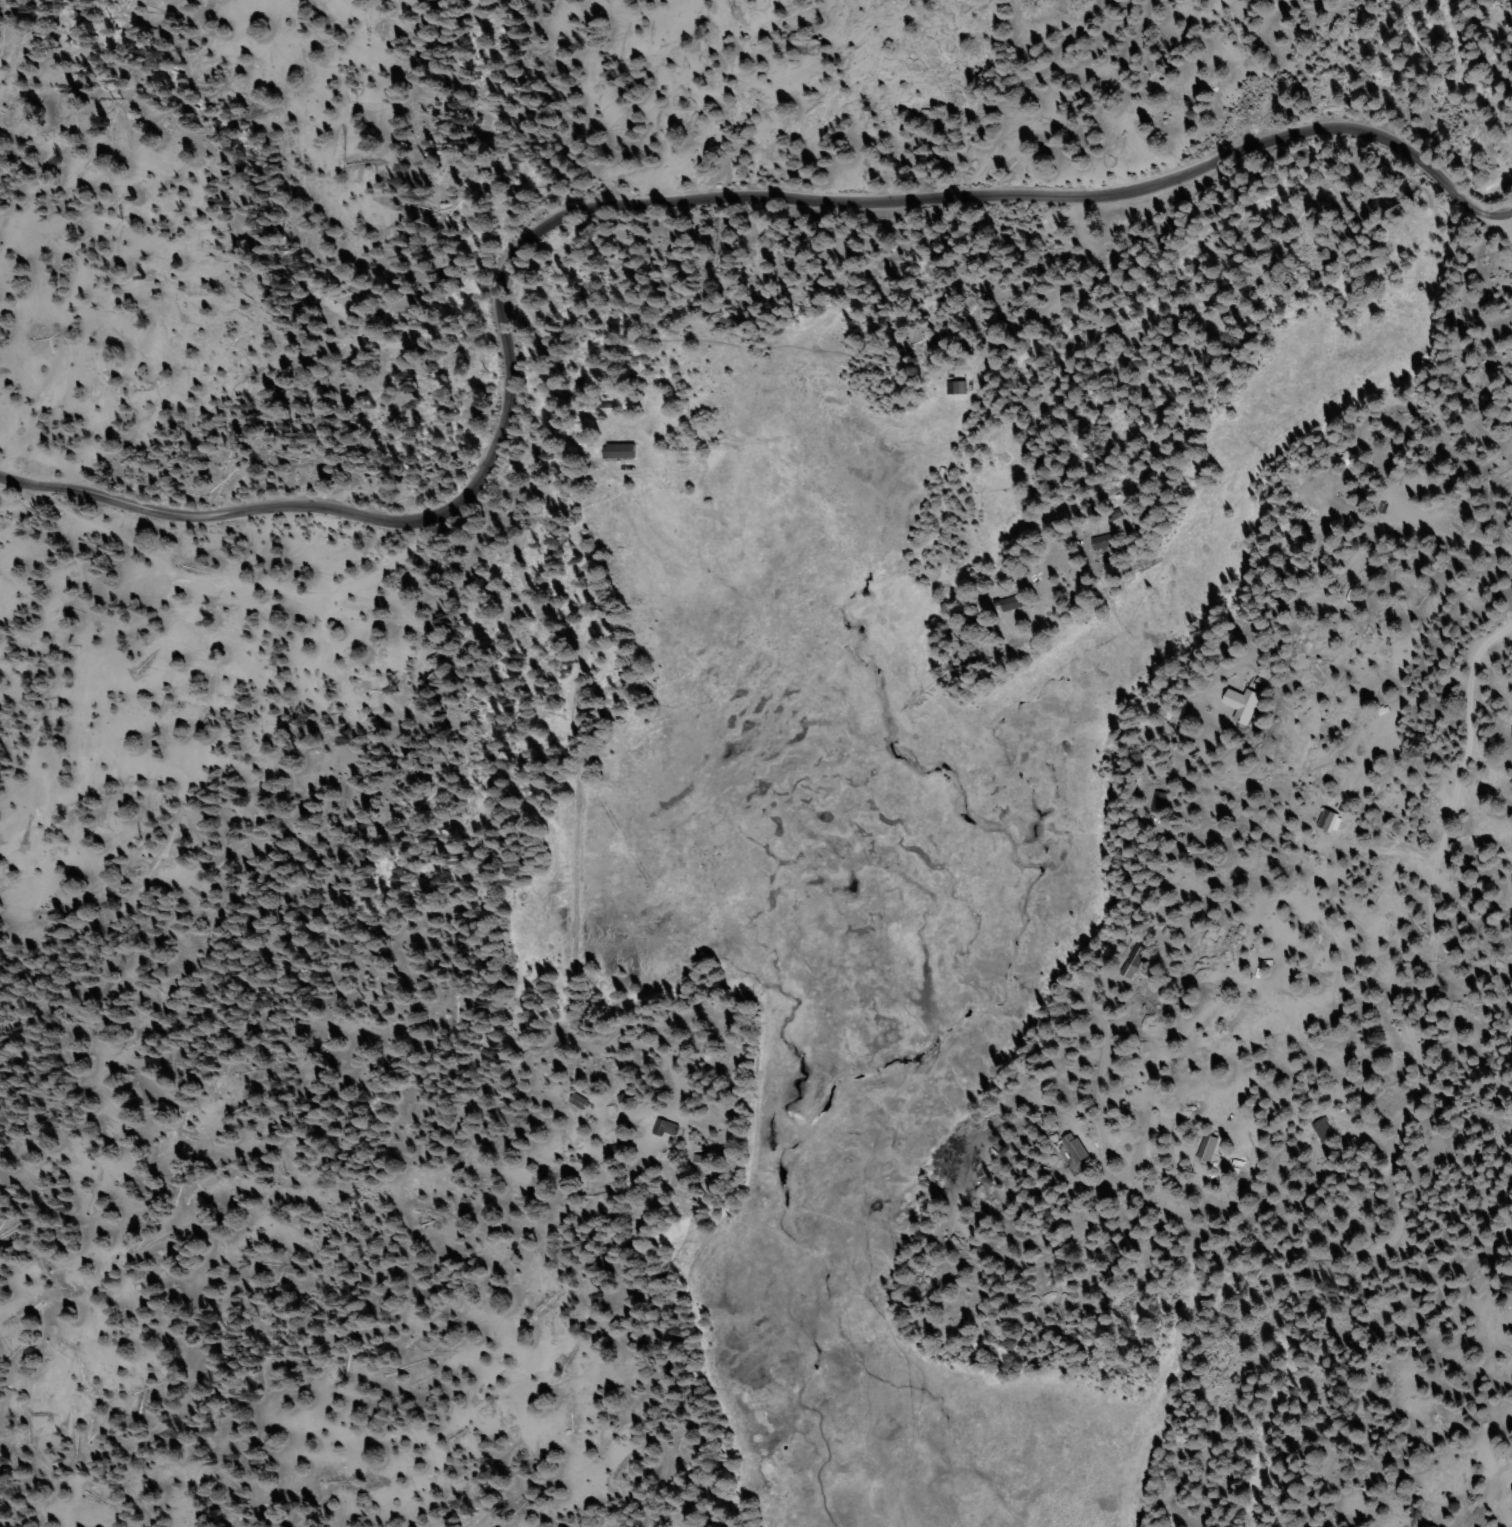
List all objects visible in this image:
road: (661, 199)
road: (1019, 366)
building: (617, 452)
road: (1369, 564)
road: (1436, 718)
road: (592, 804)
building: (1332, 820)
building: (1076, 1154)
road: (1373, 1200)
road: (1004, 1311)

